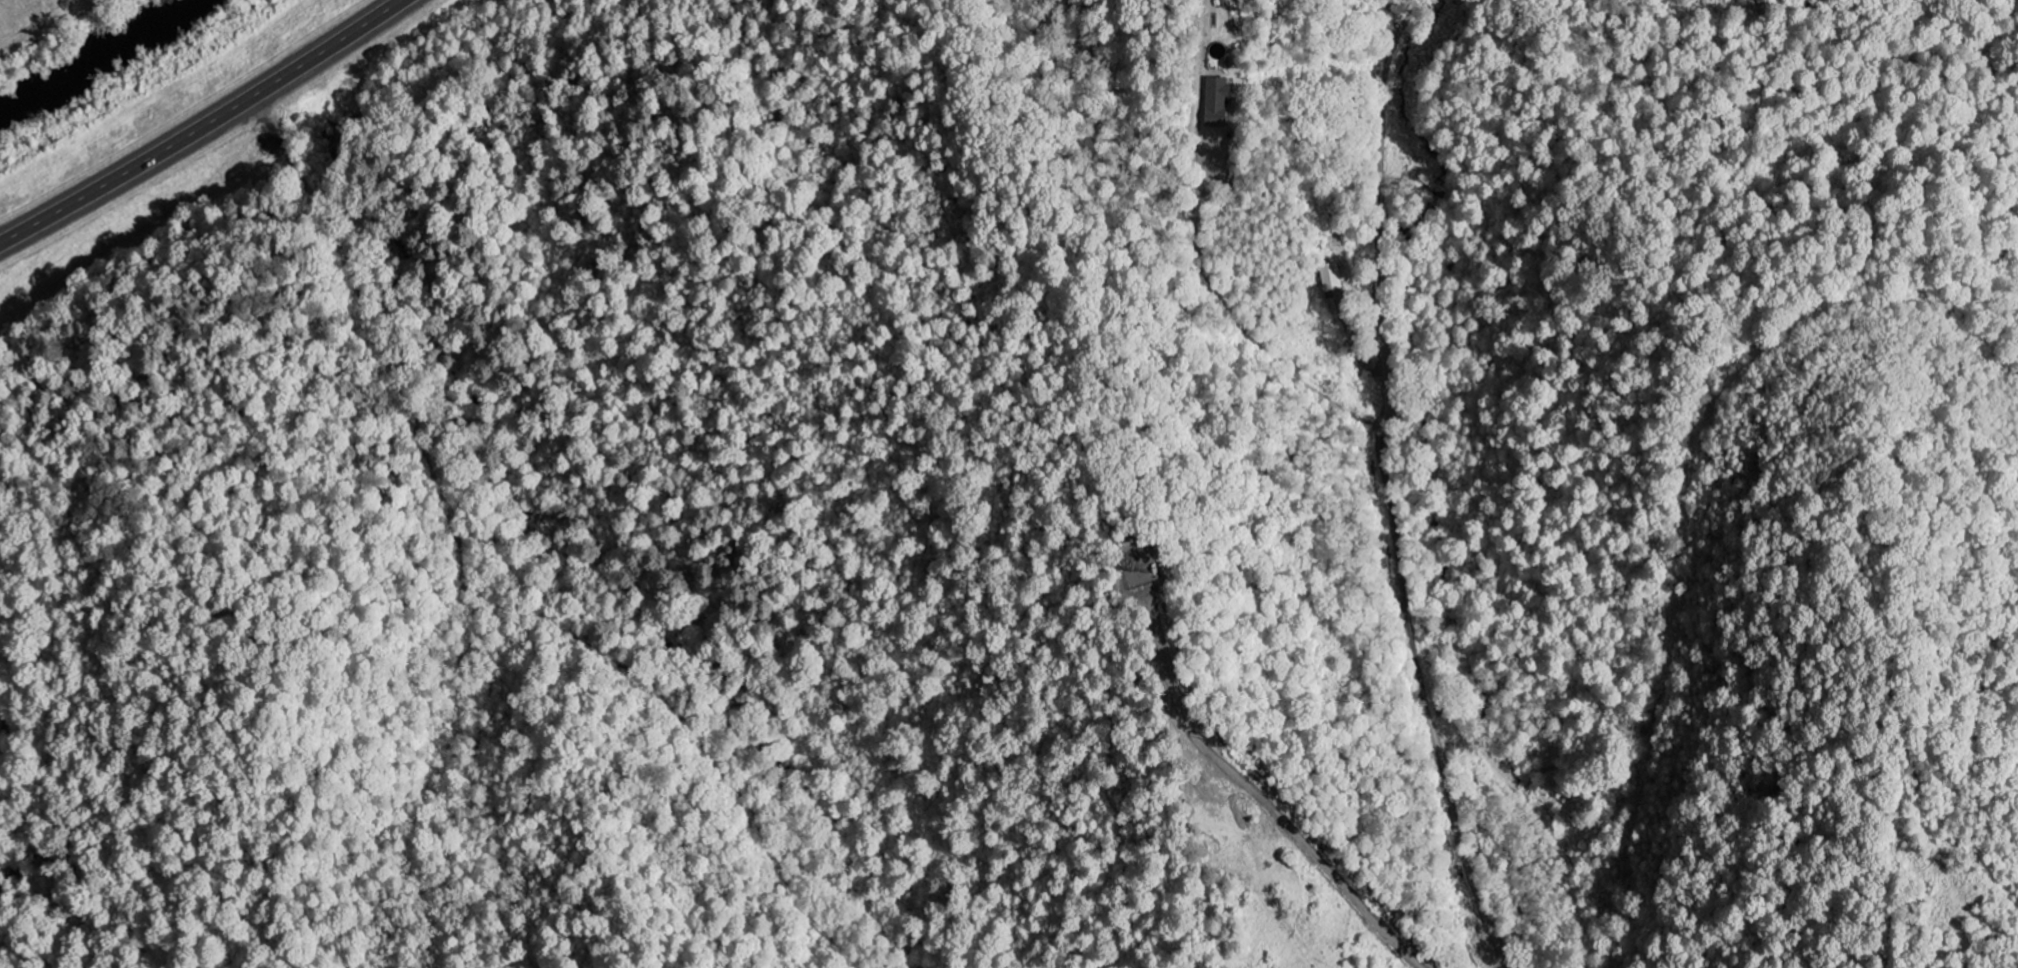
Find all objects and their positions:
river: (94, 55)
building: (1216, 100)
road: (204, 127)
building: (1331, 276)

